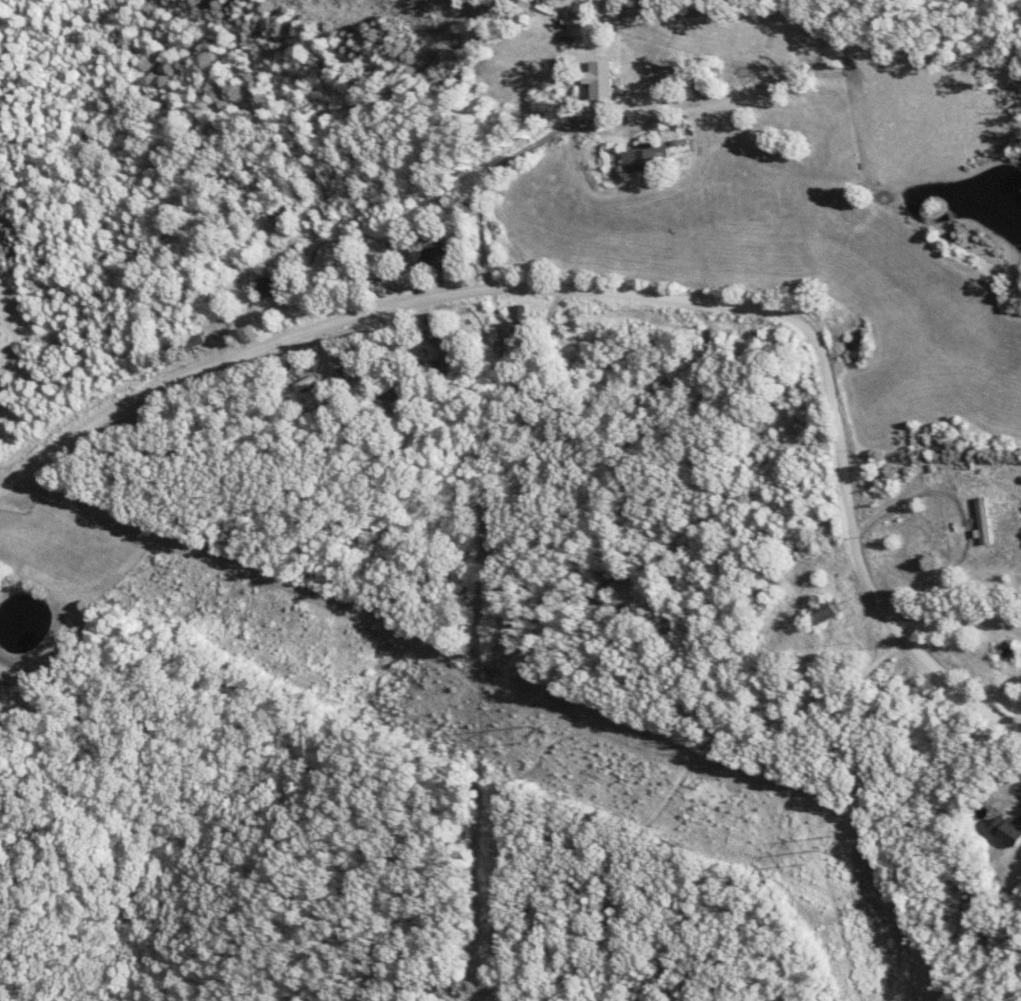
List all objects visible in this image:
building: (605, 84)
road: (543, 143)
building: (652, 160)
building: (438, 253)
building: (275, 288)
road: (620, 294)
road: (964, 518)
building: (826, 613)
building: (4, 699)
power tower: (539, 734)
building: (1010, 829)
power tower: (825, 852)

